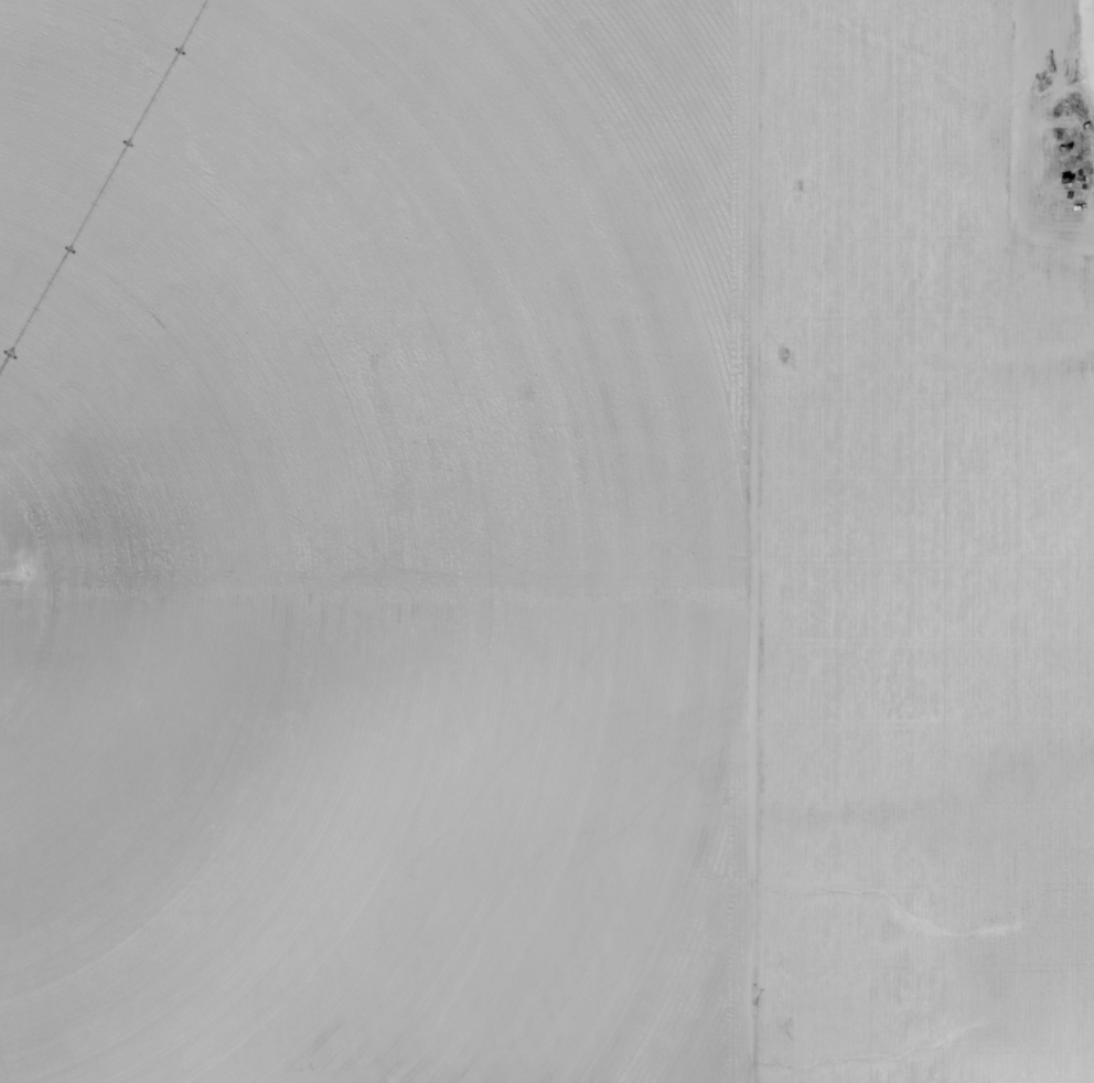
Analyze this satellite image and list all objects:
road: (1083, 37)

